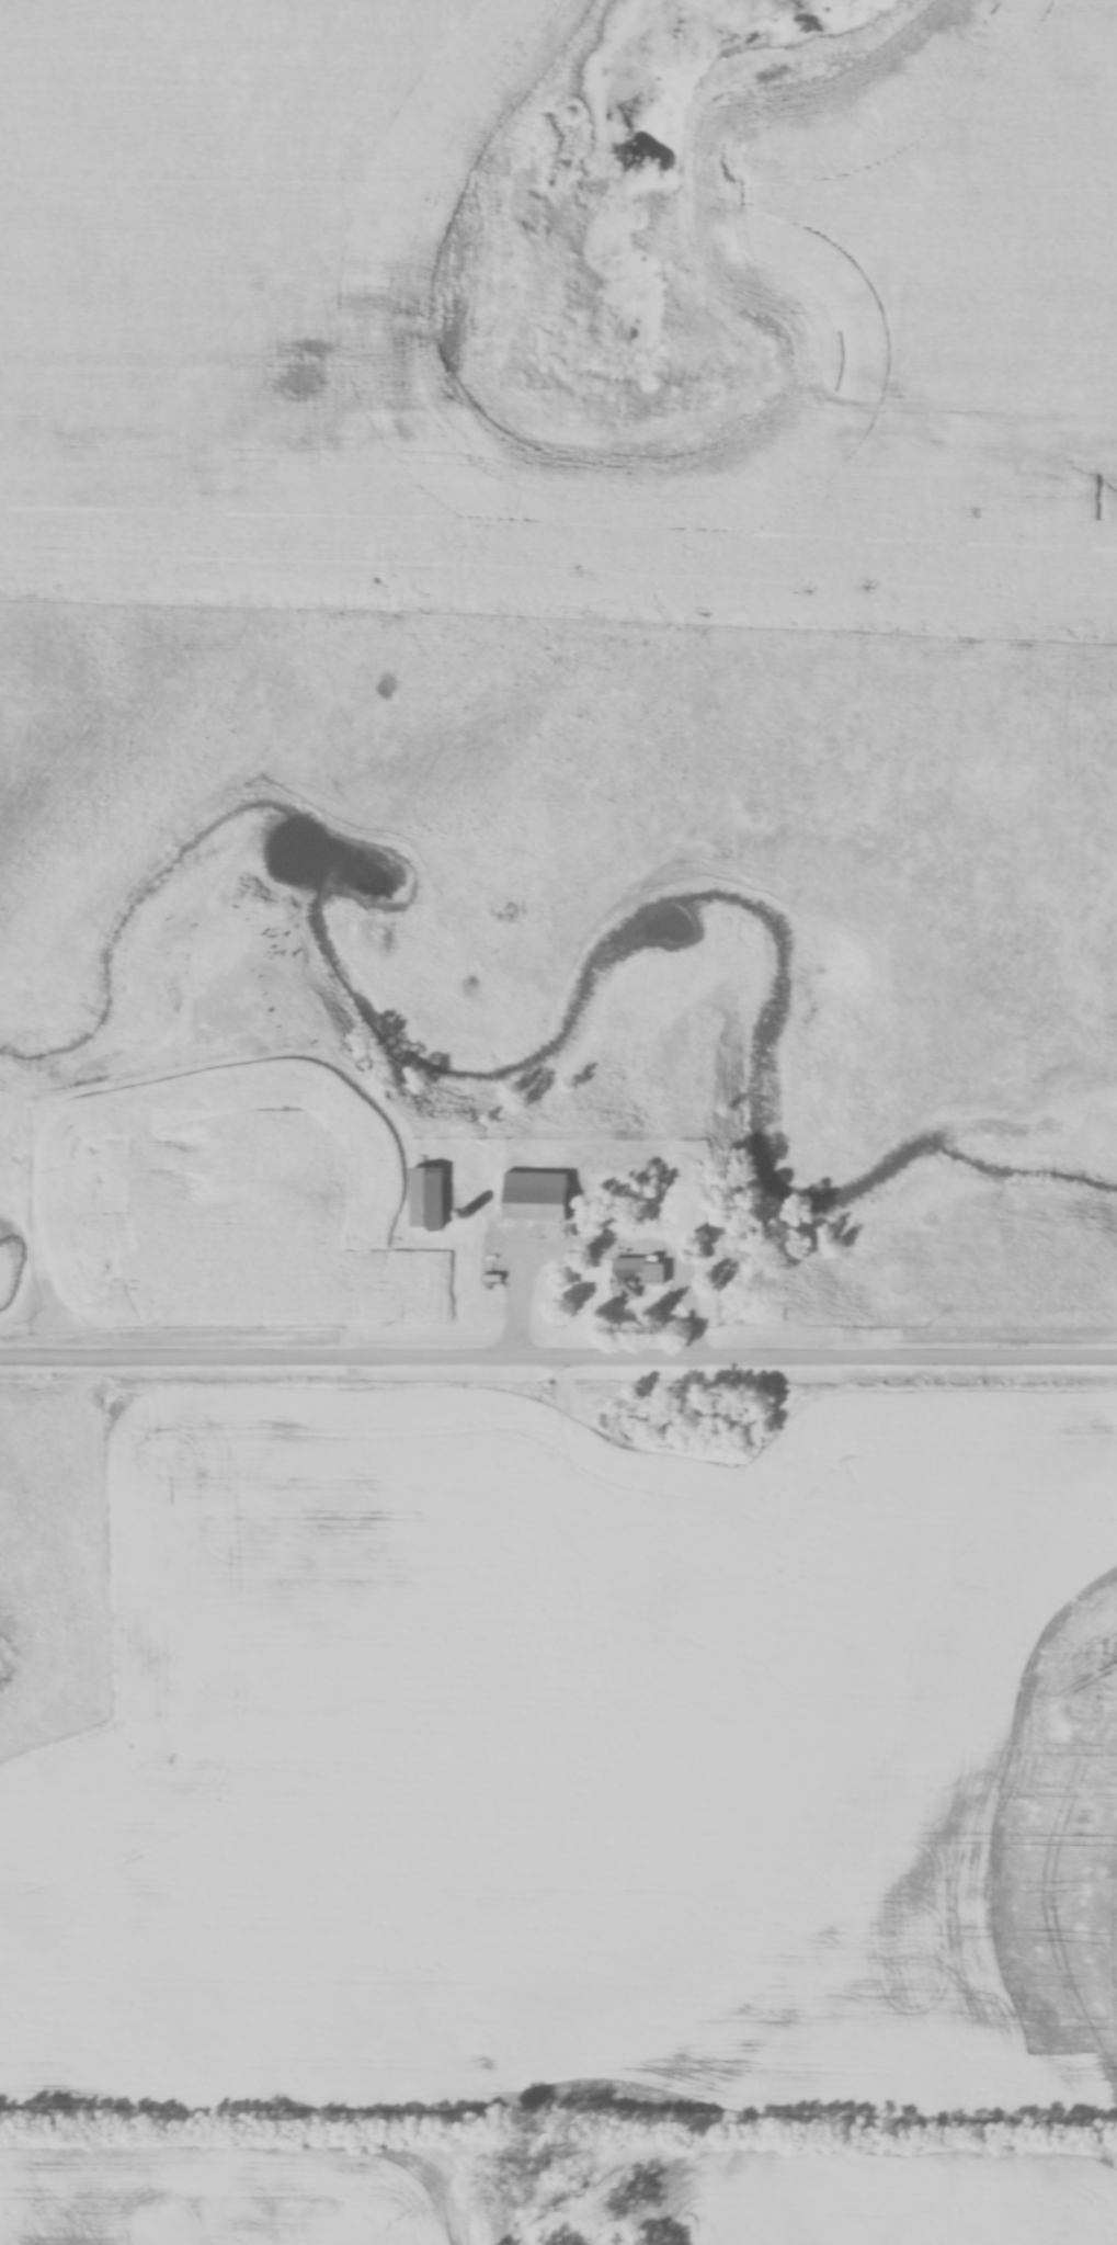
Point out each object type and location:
building: (536, 1198)
building: (430, 1199)
building: (636, 1274)
road: (558, 1358)

